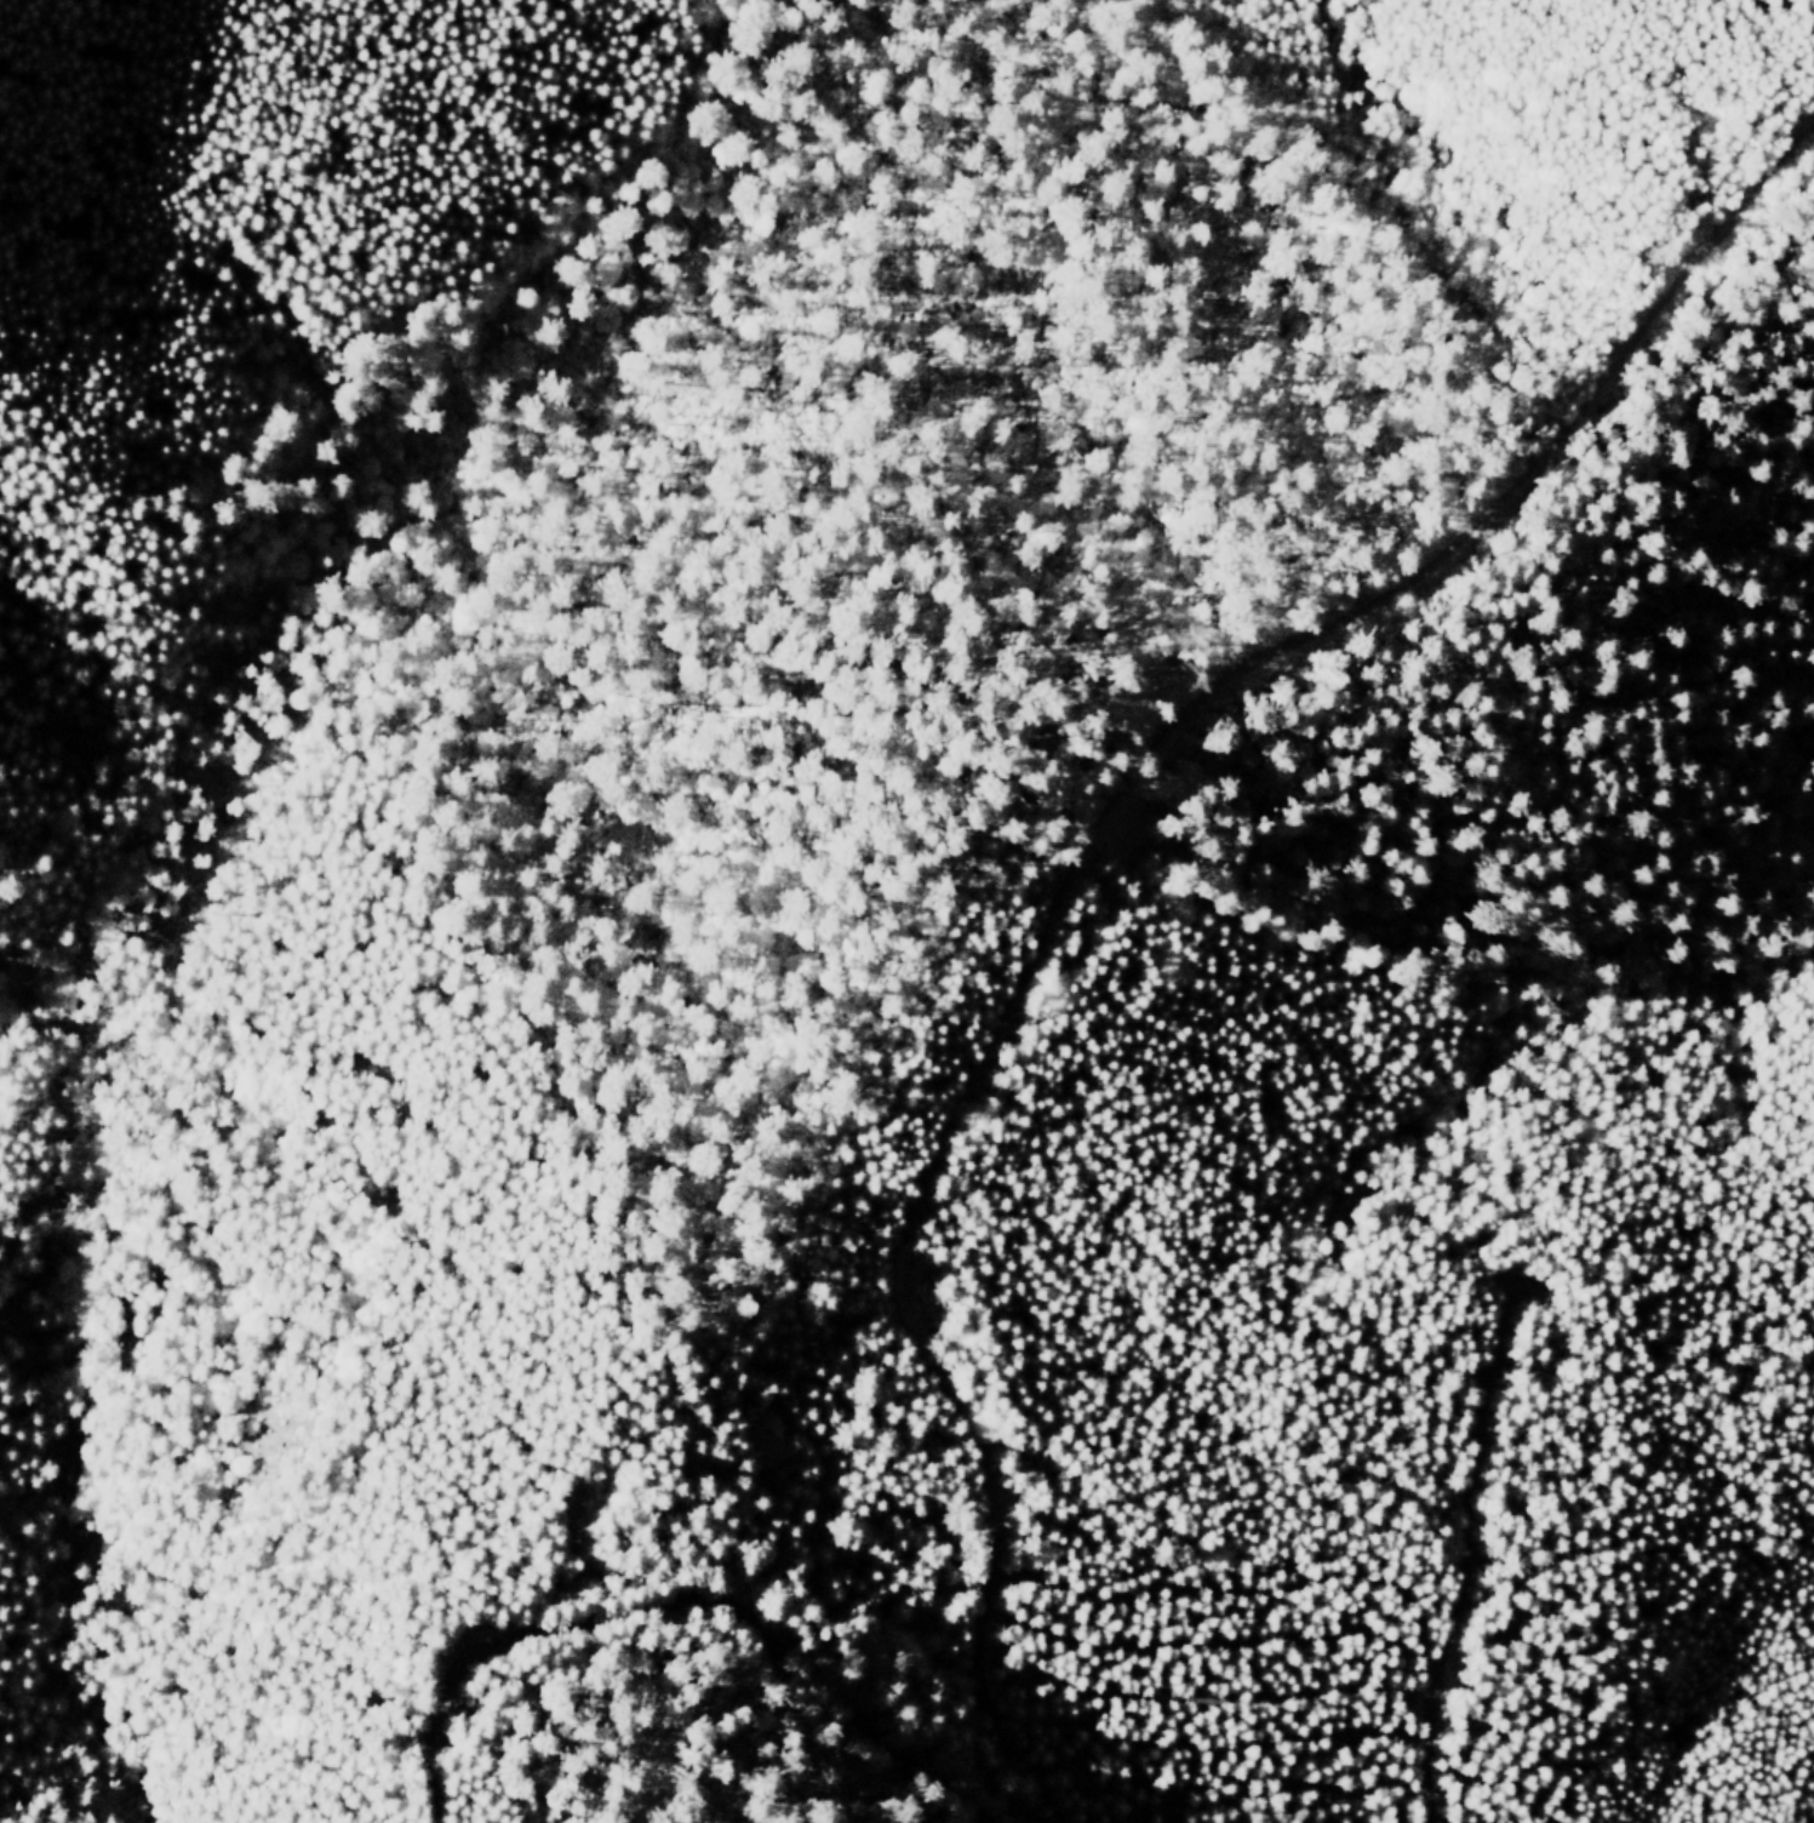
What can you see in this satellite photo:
road: (1071, 869)
road: (1477, 1558)
road: (681, 1600)

